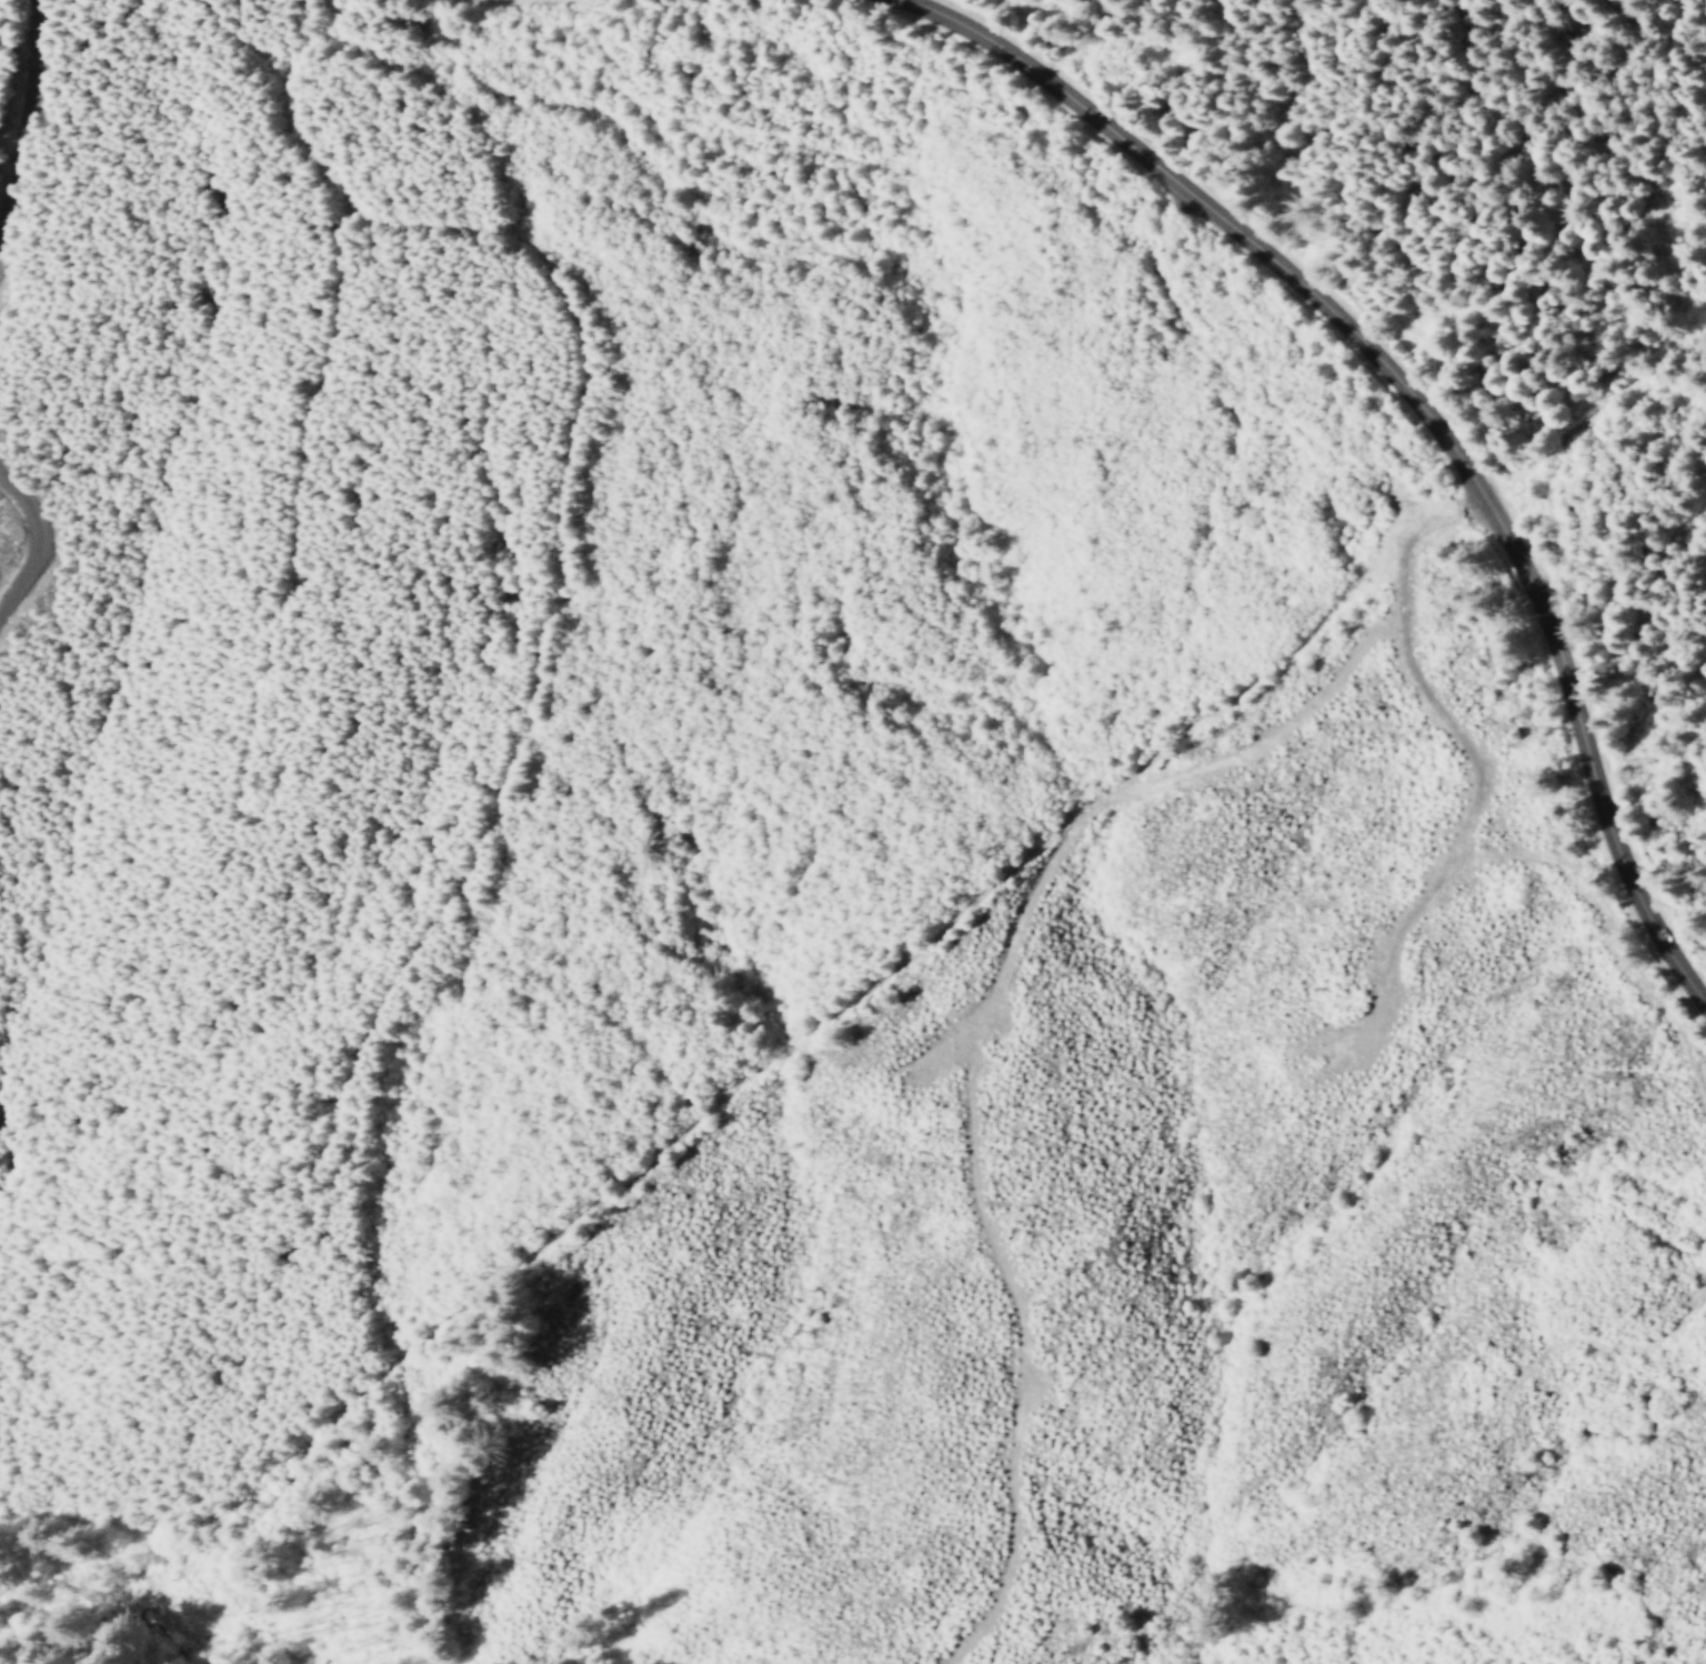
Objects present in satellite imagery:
road: (1421, 421)

